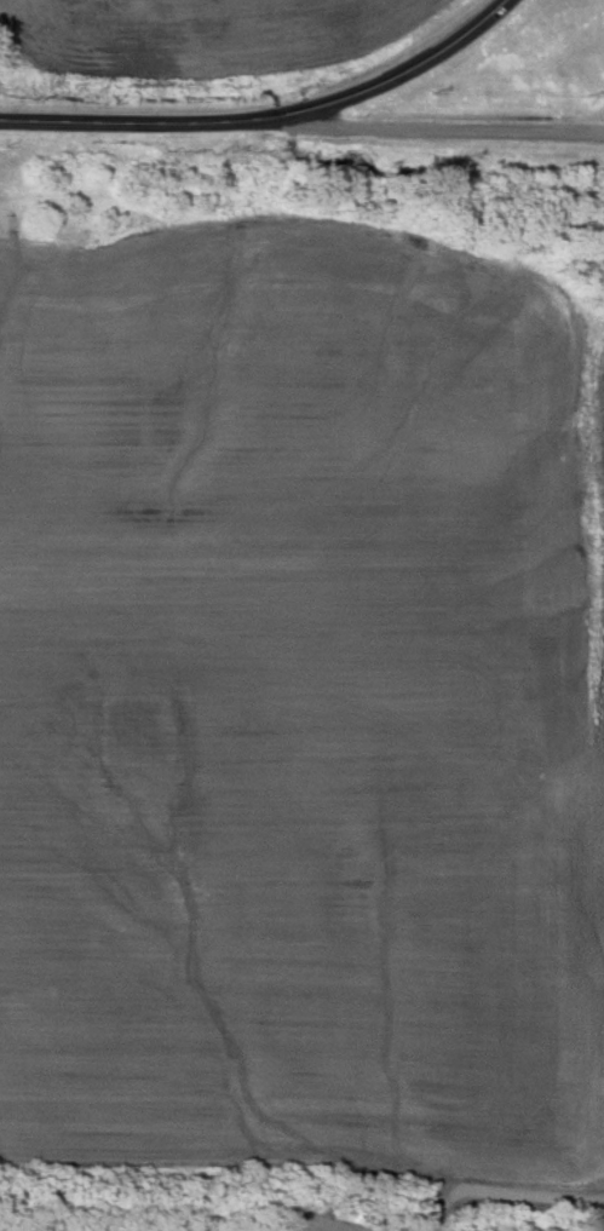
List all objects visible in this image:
crop: (200, 36)
road: (269, 119)
road: (437, 131)
crop: (299, 713)

